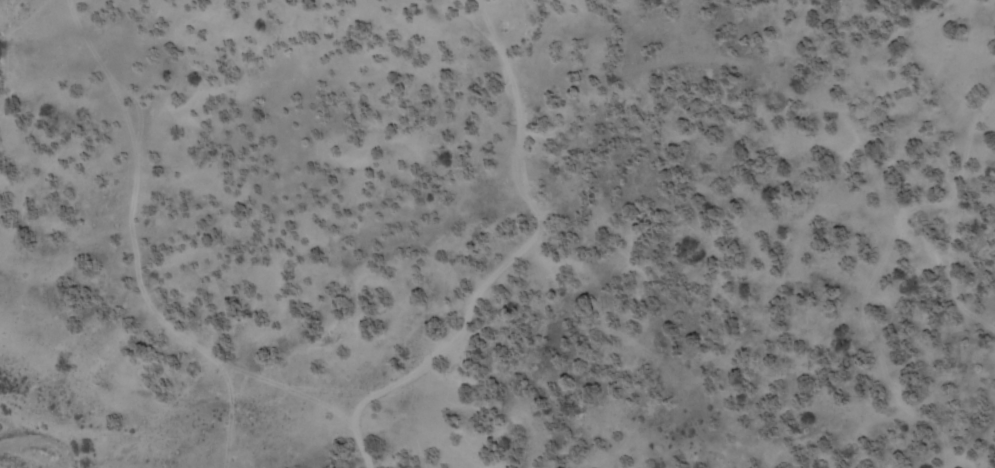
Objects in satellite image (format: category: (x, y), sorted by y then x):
road: (172, 223)
road: (526, 242)

